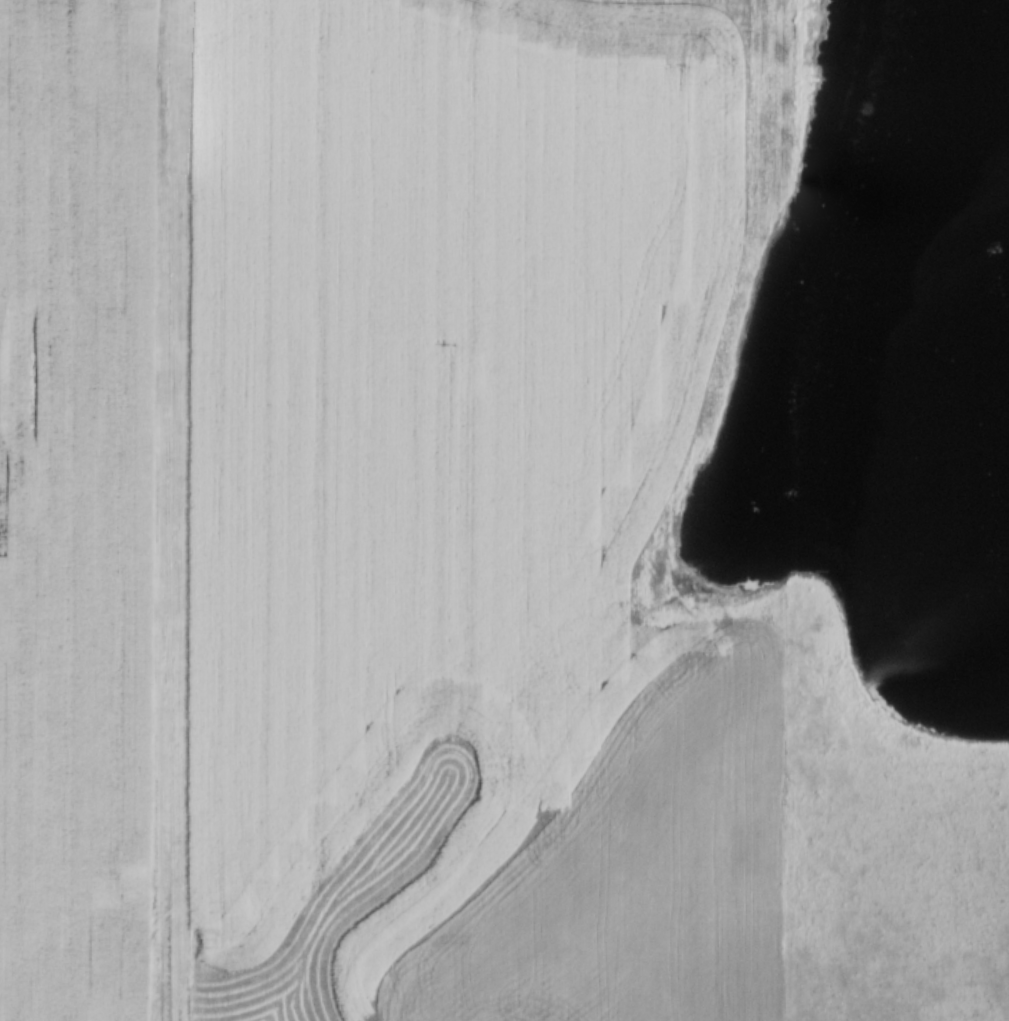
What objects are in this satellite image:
road: (160, 510)

